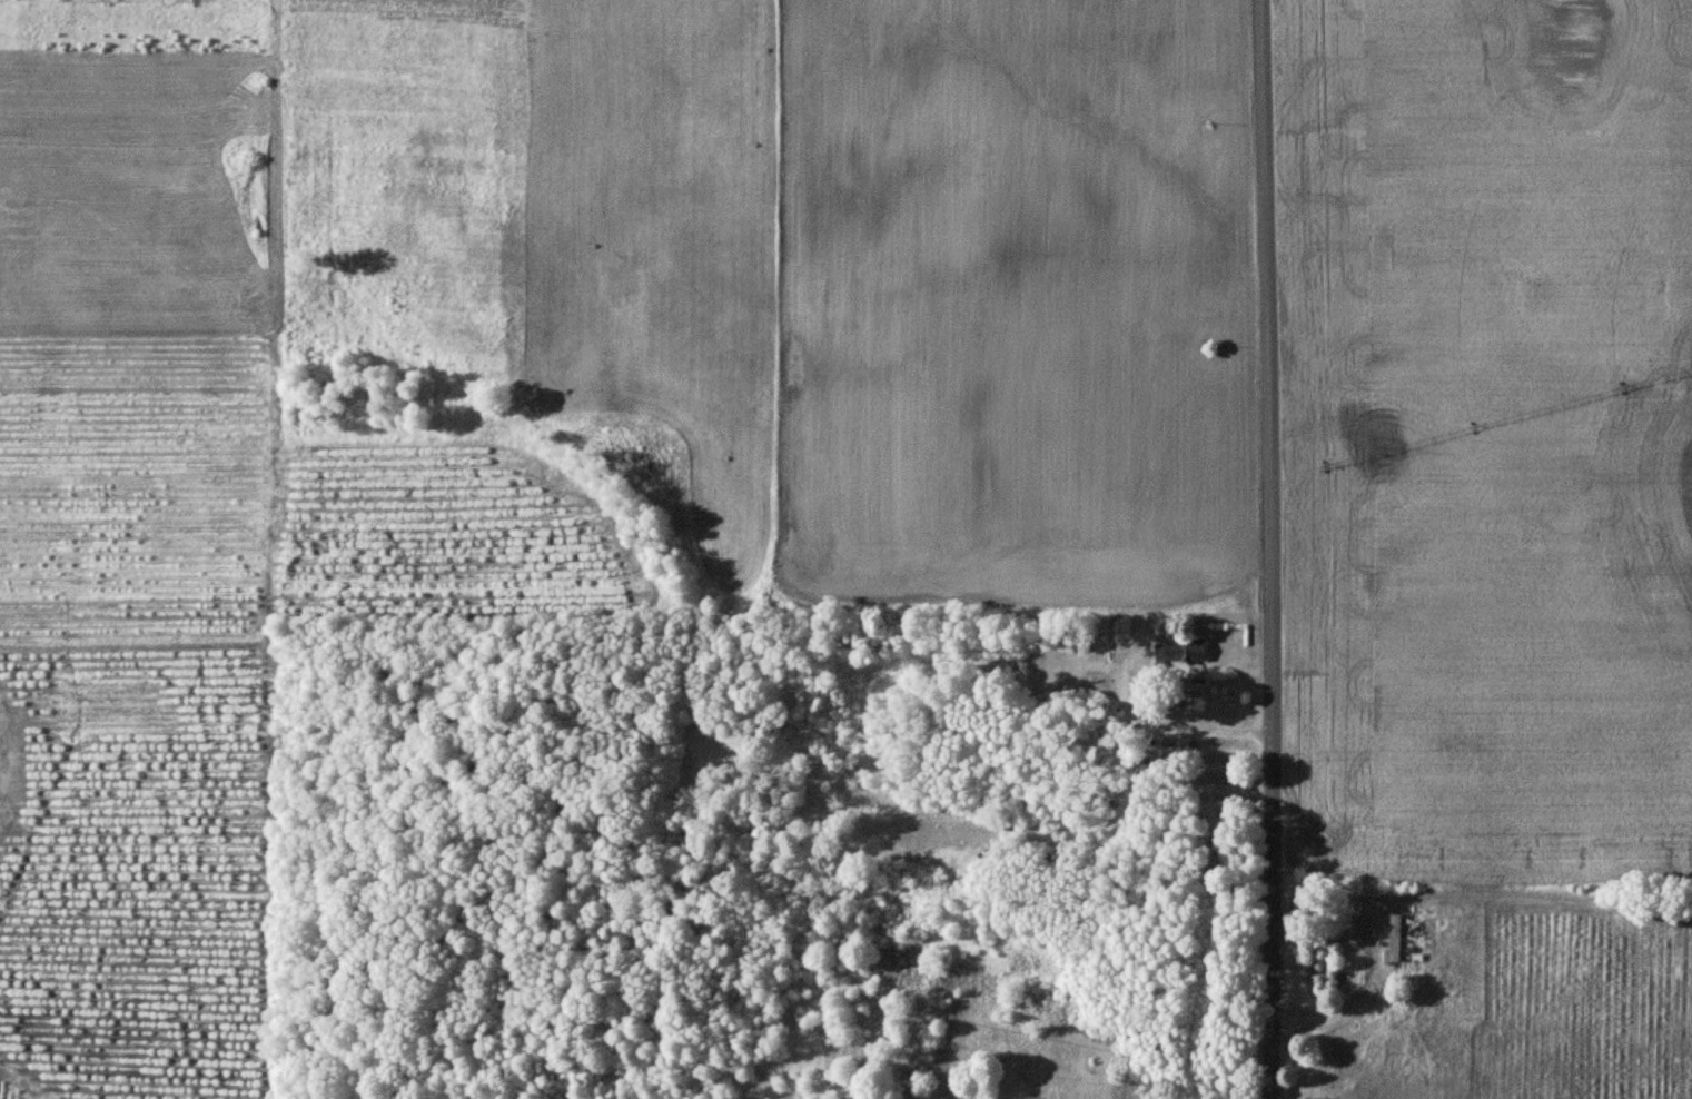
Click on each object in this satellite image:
road: (1274, 548)
building: (1181, 652)
building: (1395, 939)
road: (1376, 963)

